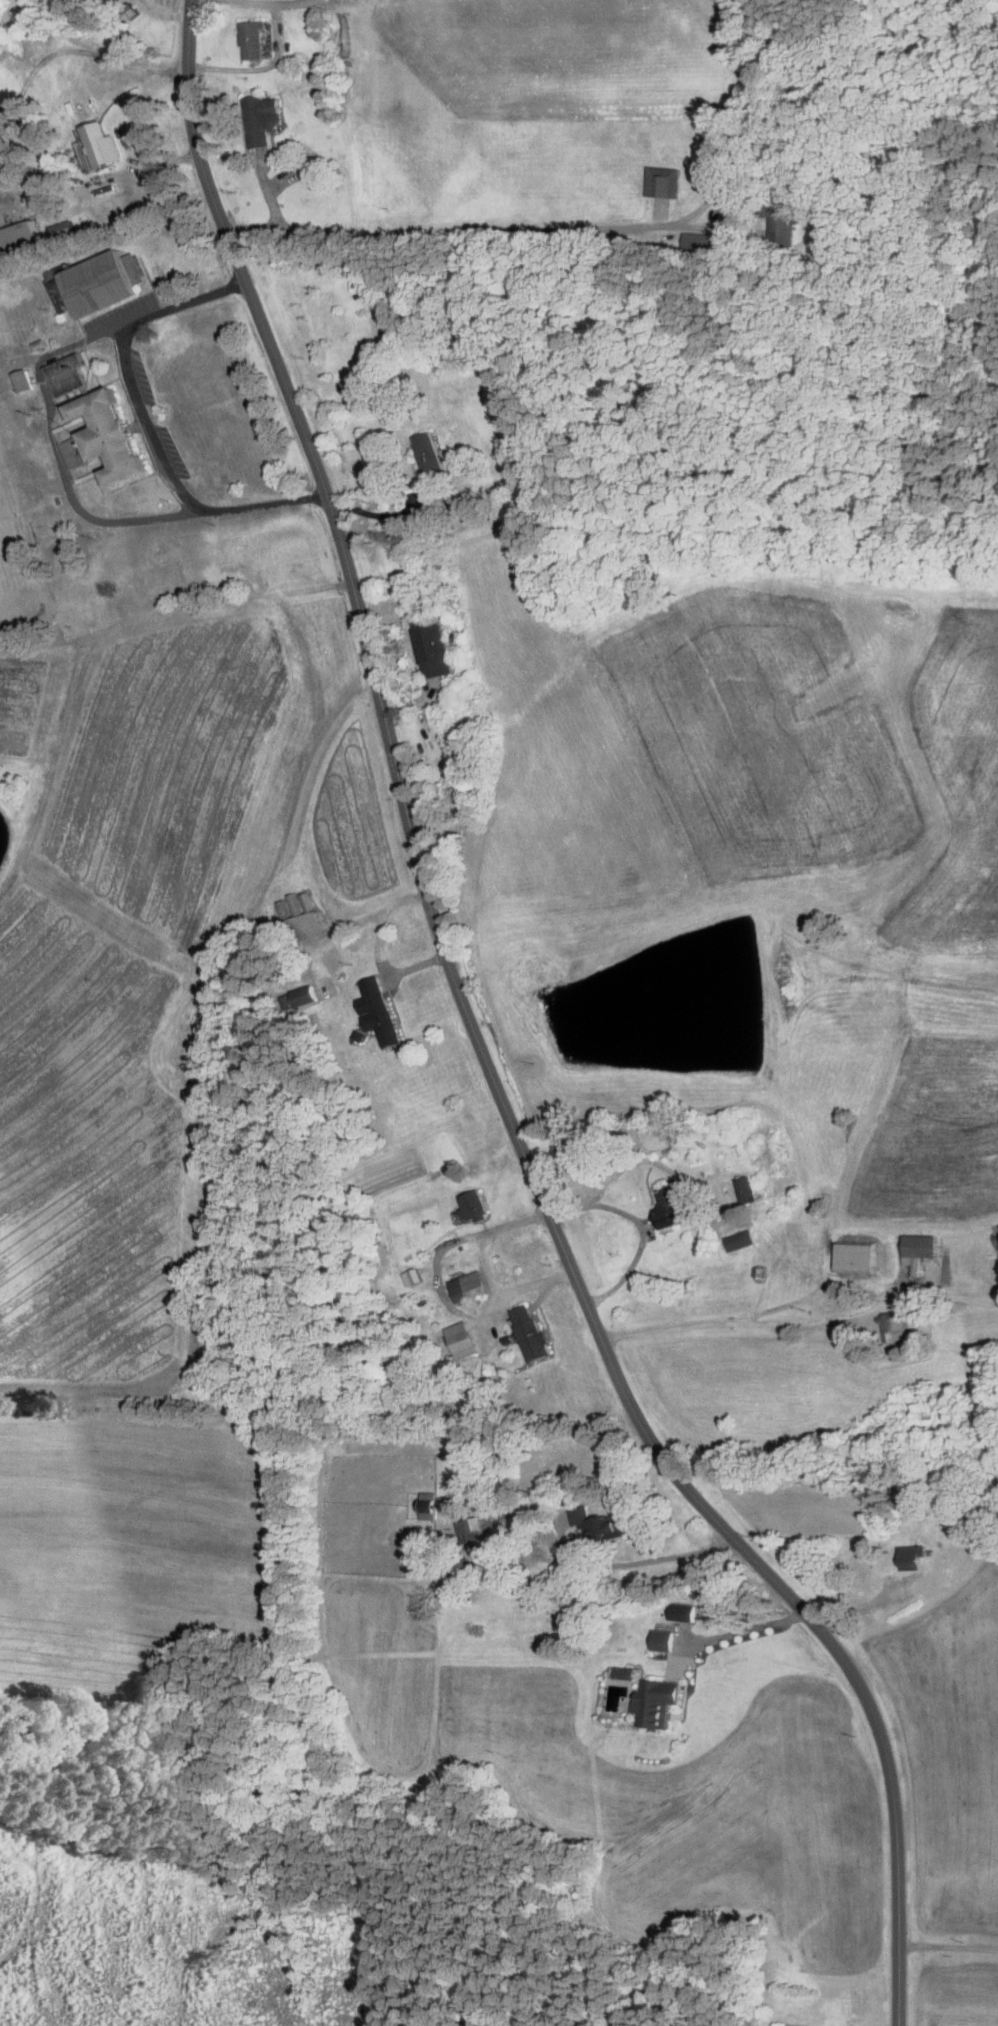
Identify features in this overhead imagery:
road: (266, 4)
building: (252, 40)
building: (262, 118)
building: (101, 143)
building: (311, 166)
building: (782, 219)
road: (531, 229)
building: (18, 237)
building: (825, 238)
building: (700, 241)
building: (96, 282)
building: (68, 373)
building: (23, 380)
road: (147, 425)
building: (104, 436)
road: (55, 441)
building: (429, 454)
road: (377, 512)
building: (432, 647)
building: (458, 742)
building: (302, 926)
building: (305, 995)
building: (379, 1011)
road: (481, 1049)
building: (746, 1189)
building: (473, 1206)
building: (671, 1206)
road: (639, 1221)
building: (741, 1240)
building: (920, 1249)
building: (856, 1257)
building: (468, 1286)
road: (799, 1323)
building: (892, 1326)
building: (531, 1332)
building: (461, 1340)
building: (229, 1394)
building: (510, 1515)
building: (598, 1526)
building: (476, 1528)
building: (912, 1556)
road: (641, 1560)
building: (683, 1611)
road: (729, 1627)
building: (663, 1640)
building: (657, 1702)
road: (948, 1948)

